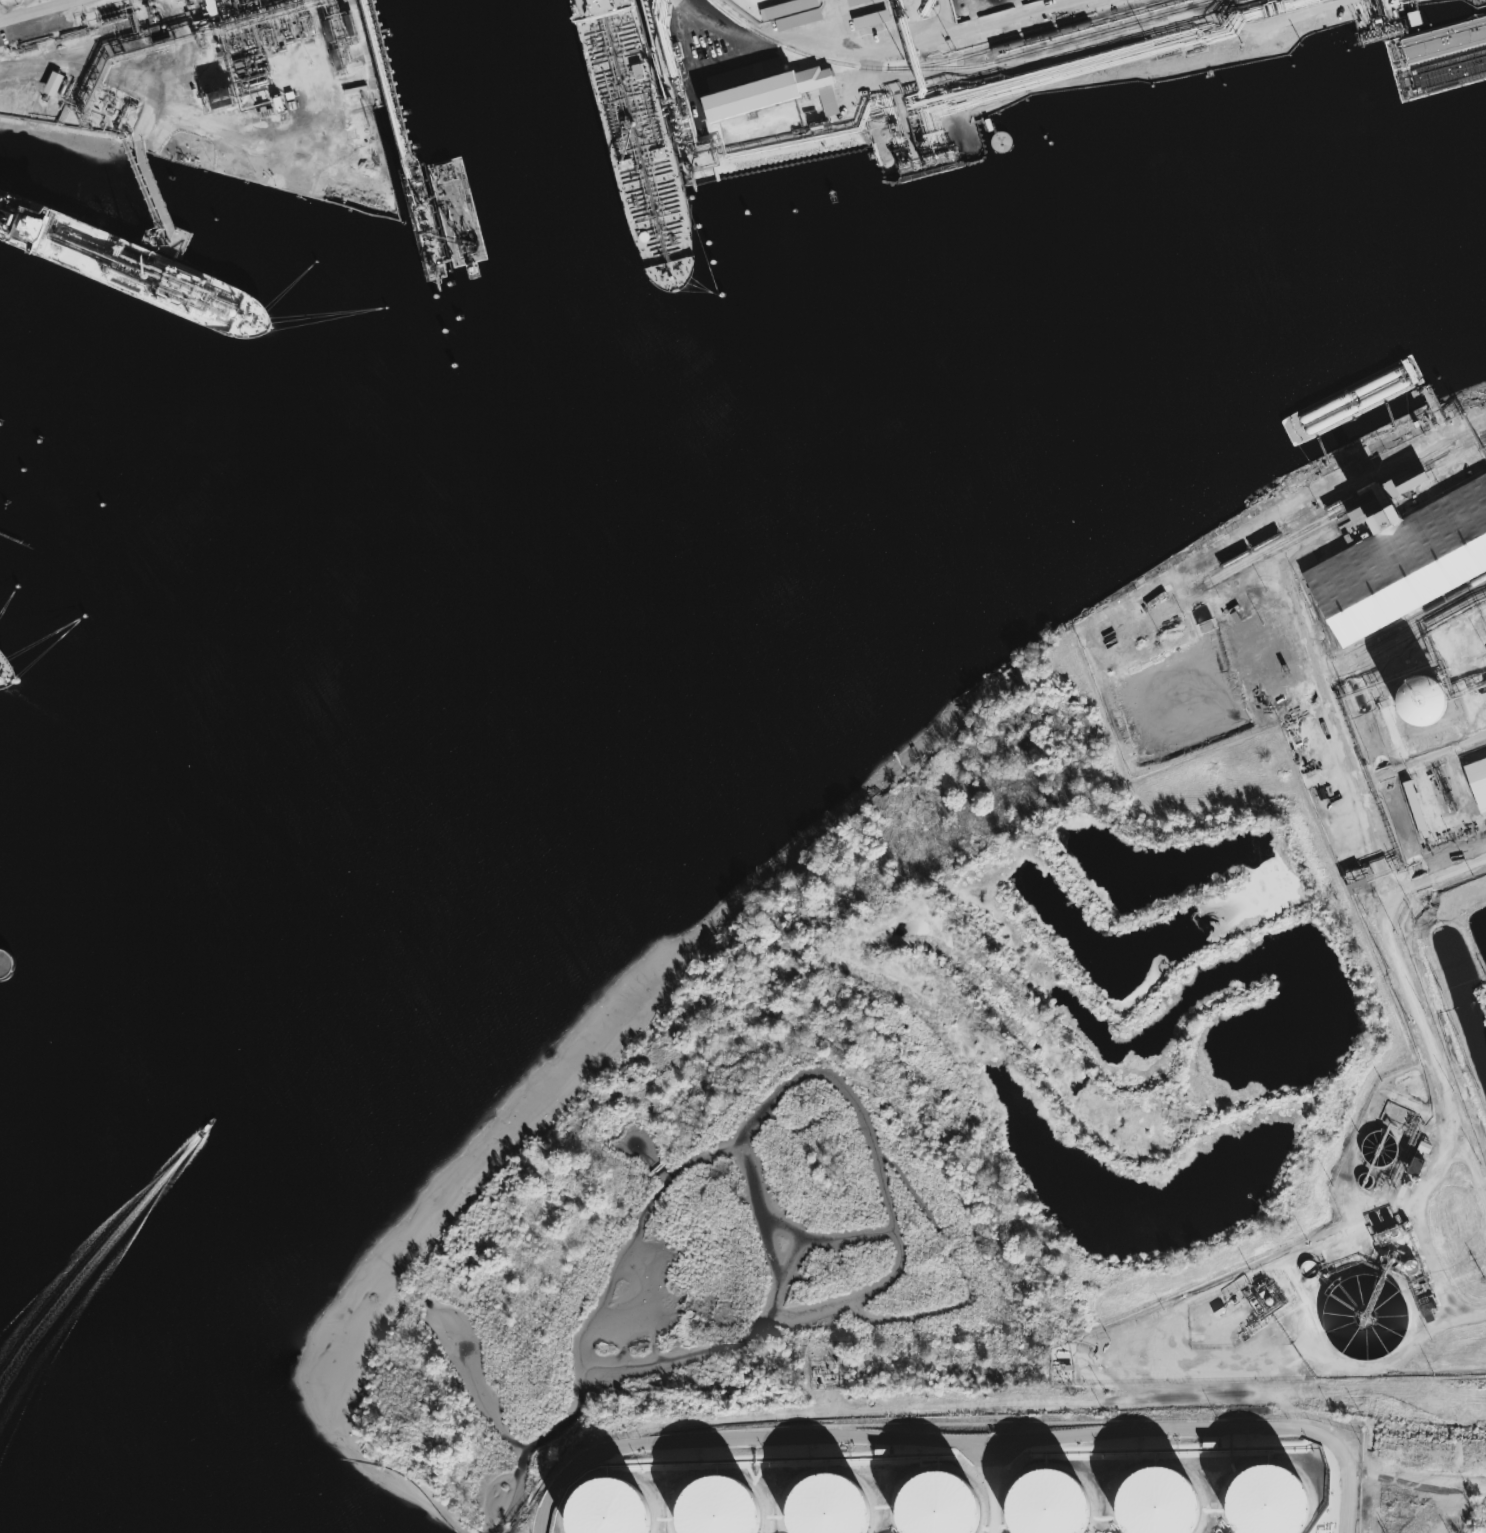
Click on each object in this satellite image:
building: (993, 3)
building: (787, 8)
road: (39, 11)
building: (798, 19)
building: (871, 19)
railway: (1053, 45)
railway: (937, 63)
building: (53, 84)
building: (774, 94)
railway: (1455, 449)
railway: (1340, 503)
railway: (1345, 509)
building: (1404, 563)
river: (624, 580)
railway: (1420, 611)
railway: (1422, 619)
railway: (1424, 627)
road: (1270, 673)
building: (1426, 703)
building: (1478, 782)
road: (1439, 882)
building: (1359, 887)
pier: (2, 974)
river: (48, 1062)
road: (1476, 1179)
road: (1429, 1241)
road: (1231, 1284)
building: (1361, 1325)
storage tank: (1361, 1325)
road: (1224, 1400)
road: (1392, 1419)
road: (901, 1439)
building: (1264, 1504)
storage tank: (1264, 1504)
building: (1154, 1505)
storage tank: (1154, 1505)
building: (1048, 1506)
storage tank: (1048, 1506)
road: (1344, 1508)
building: (826, 1509)
storage tank: (826, 1509)
building: (935, 1509)
storage tank: (935, 1509)
building: (715, 1510)
storage tank: (715, 1510)
building: (603, 1511)
storage tank: (603, 1511)

